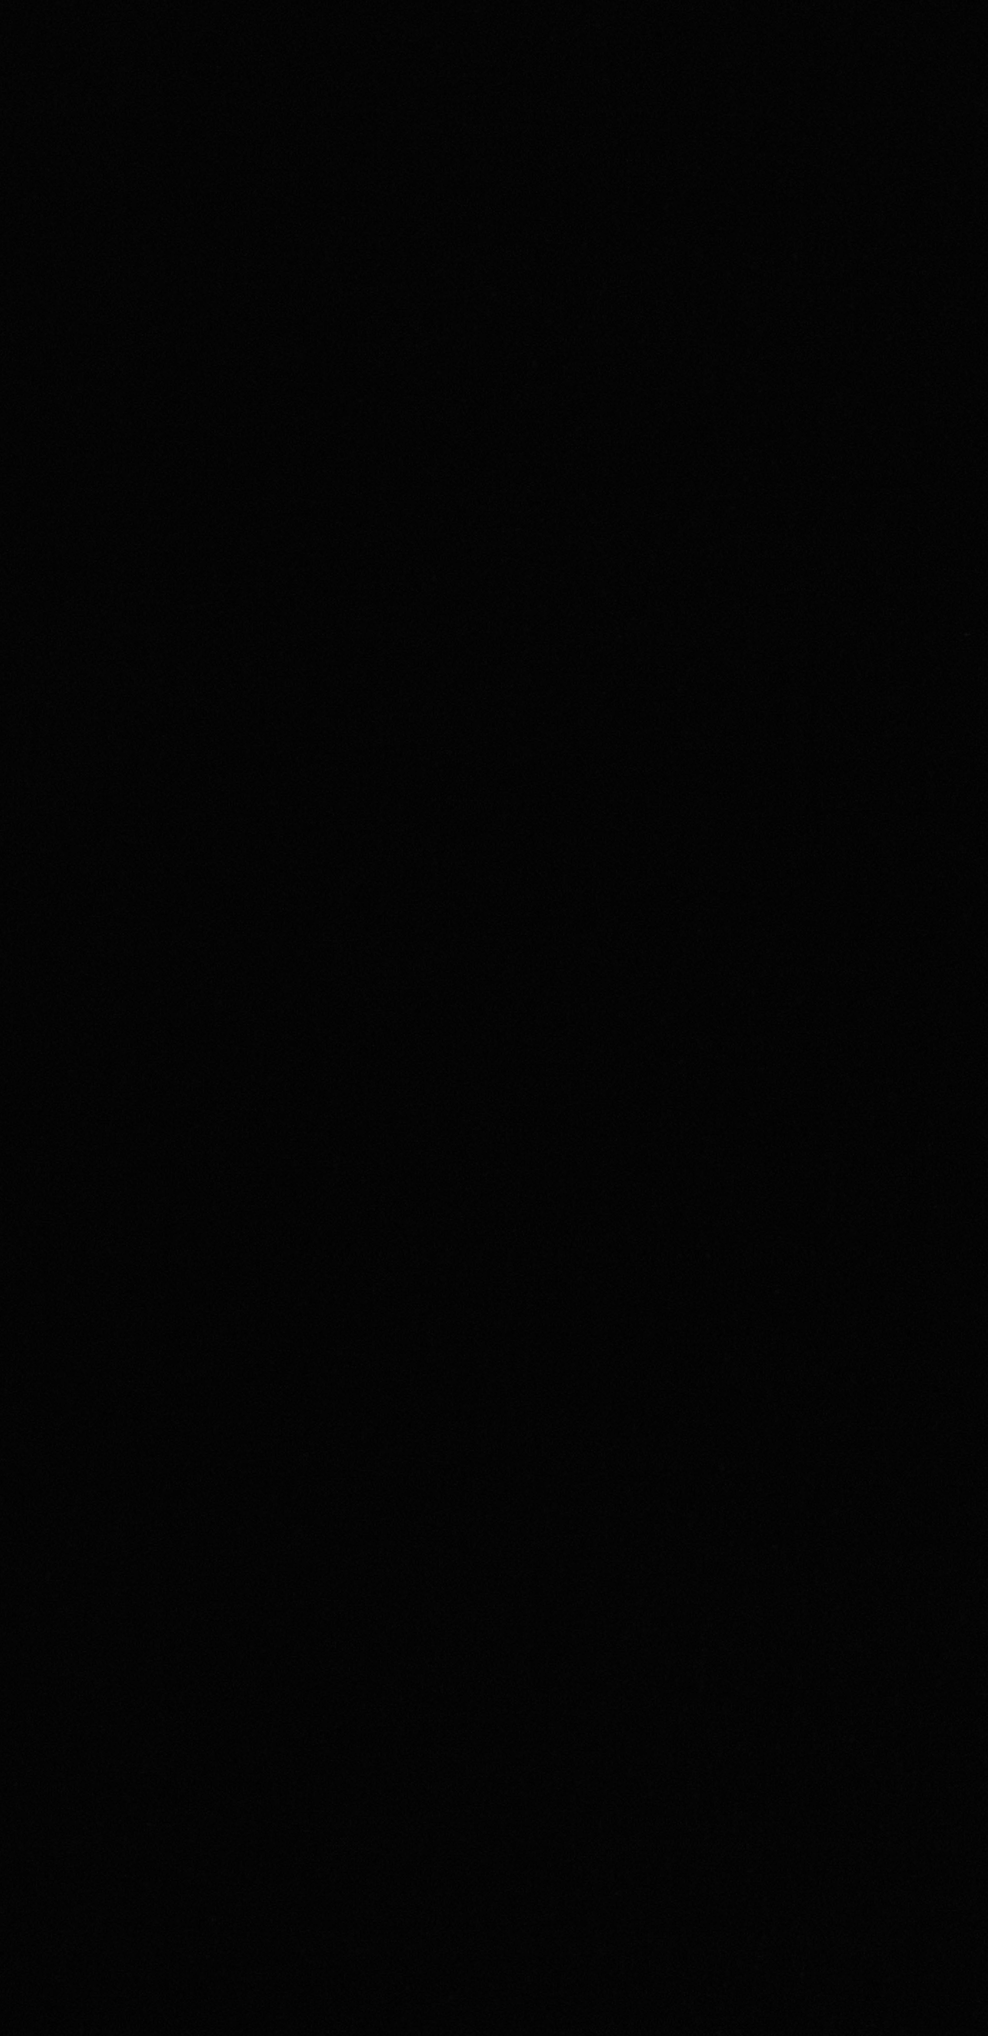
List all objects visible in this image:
river: (494, 619)

